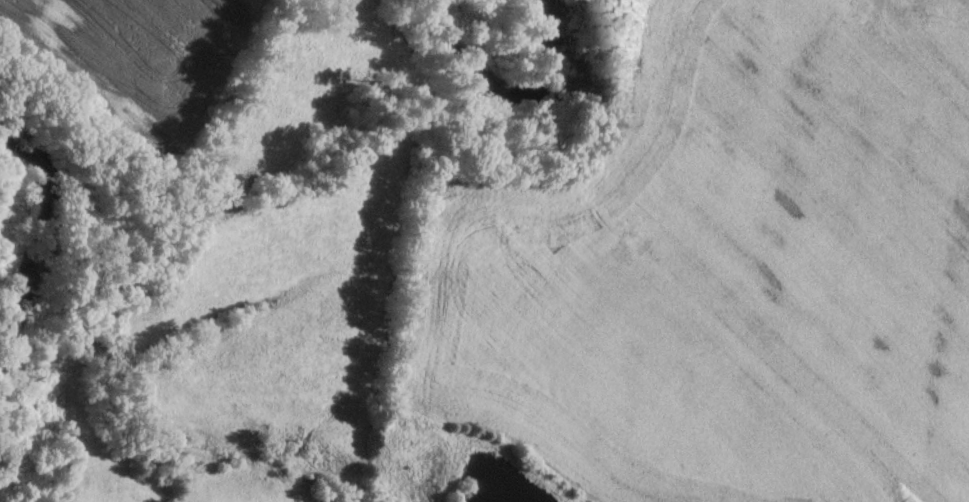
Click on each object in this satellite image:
river: (512, 78)
river: (39, 260)

